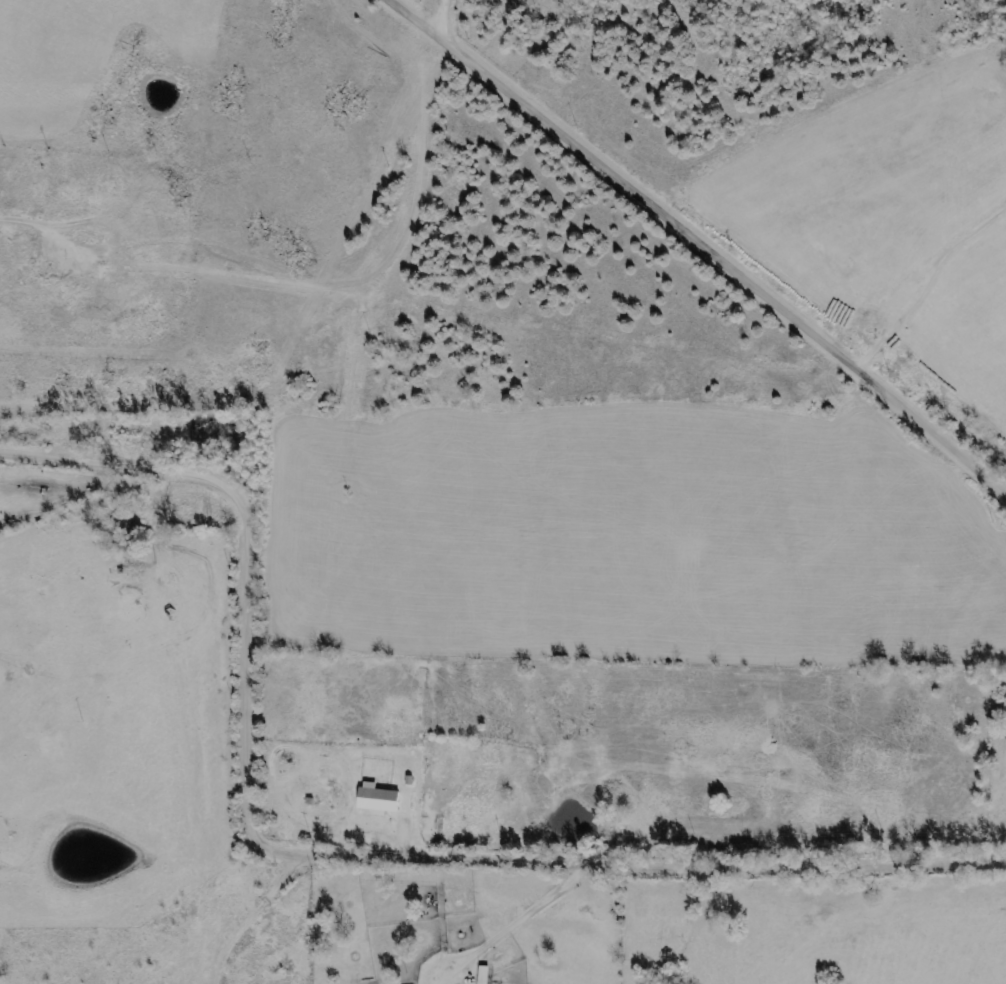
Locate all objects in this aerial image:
road: (697, 245)
building: (381, 799)
road: (334, 859)
road: (279, 921)
building: (486, 975)

